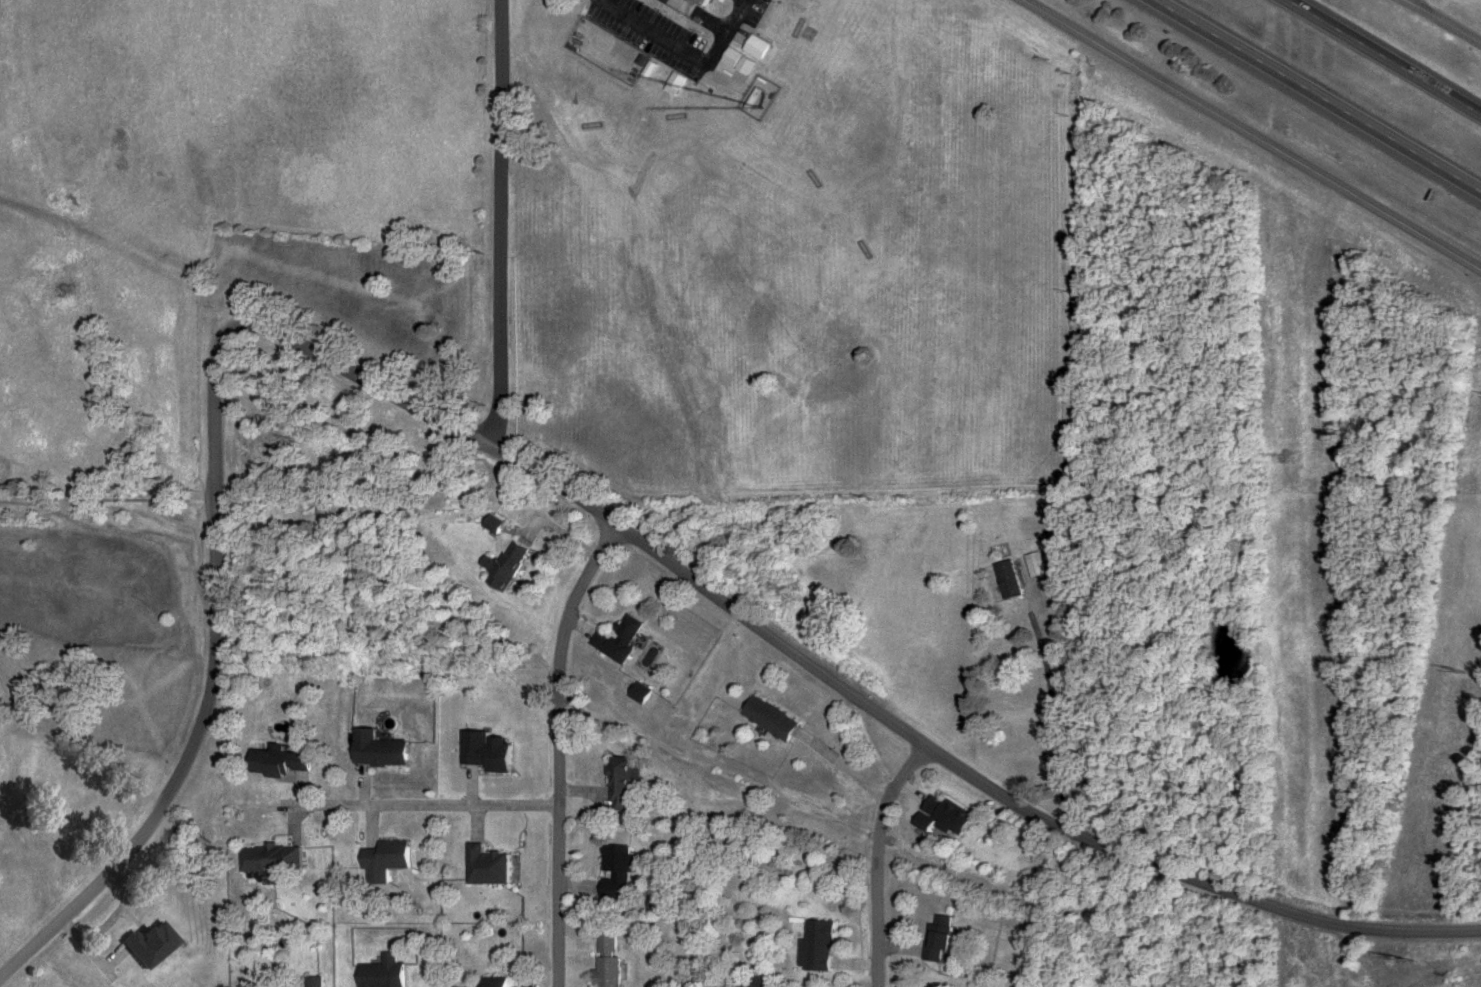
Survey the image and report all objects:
road: (1411, 3)
road: (1440, 22)
road: (1385, 56)
road: (1315, 98)
road: (1249, 135)
road: (500, 223)
road: (108, 502)
building: (491, 525)
building: (1031, 565)
building: (505, 566)
building: (1004, 580)
road: (760, 631)
building: (619, 639)
building: (642, 693)
road: (1052, 705)
building: (775, 718)
road: (215, 746)
building: (384, 749)
building: (487, 750)
road: (558, 751)
building: (287, 762)
road: (844, 767)
building: (627, 785)
road: (419, 806)
building: (938, 815)
road: (133, 846)
building: (276, 858)
building: (391, 860)
road: (881, 860)
building: (489, 866)
building: (620, 872)
building: (662, 905)
building: (933, 941)
building: (153, 944)
building: (608, 945)
building: (812, 947)
road: (1349, 958)
building: (610, 972)
building: (385, 973)
building: (315, 982)
building: (501, 982)

